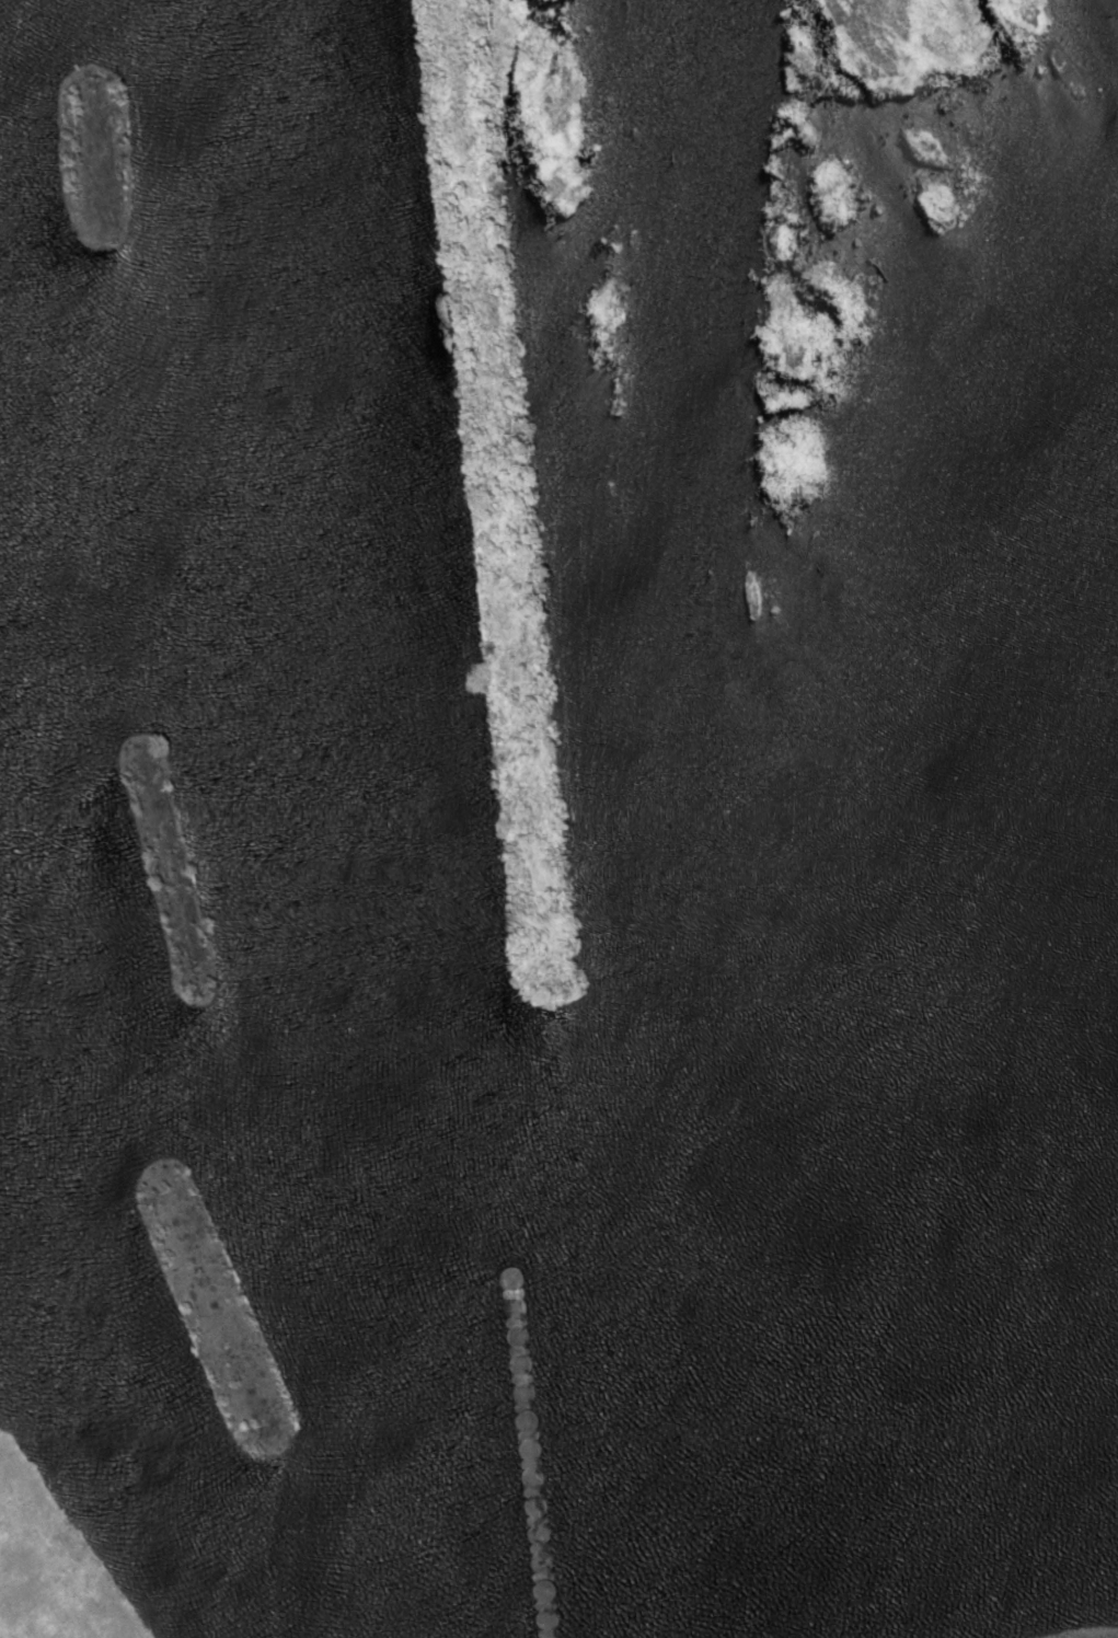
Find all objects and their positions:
river: (157, 1433)

